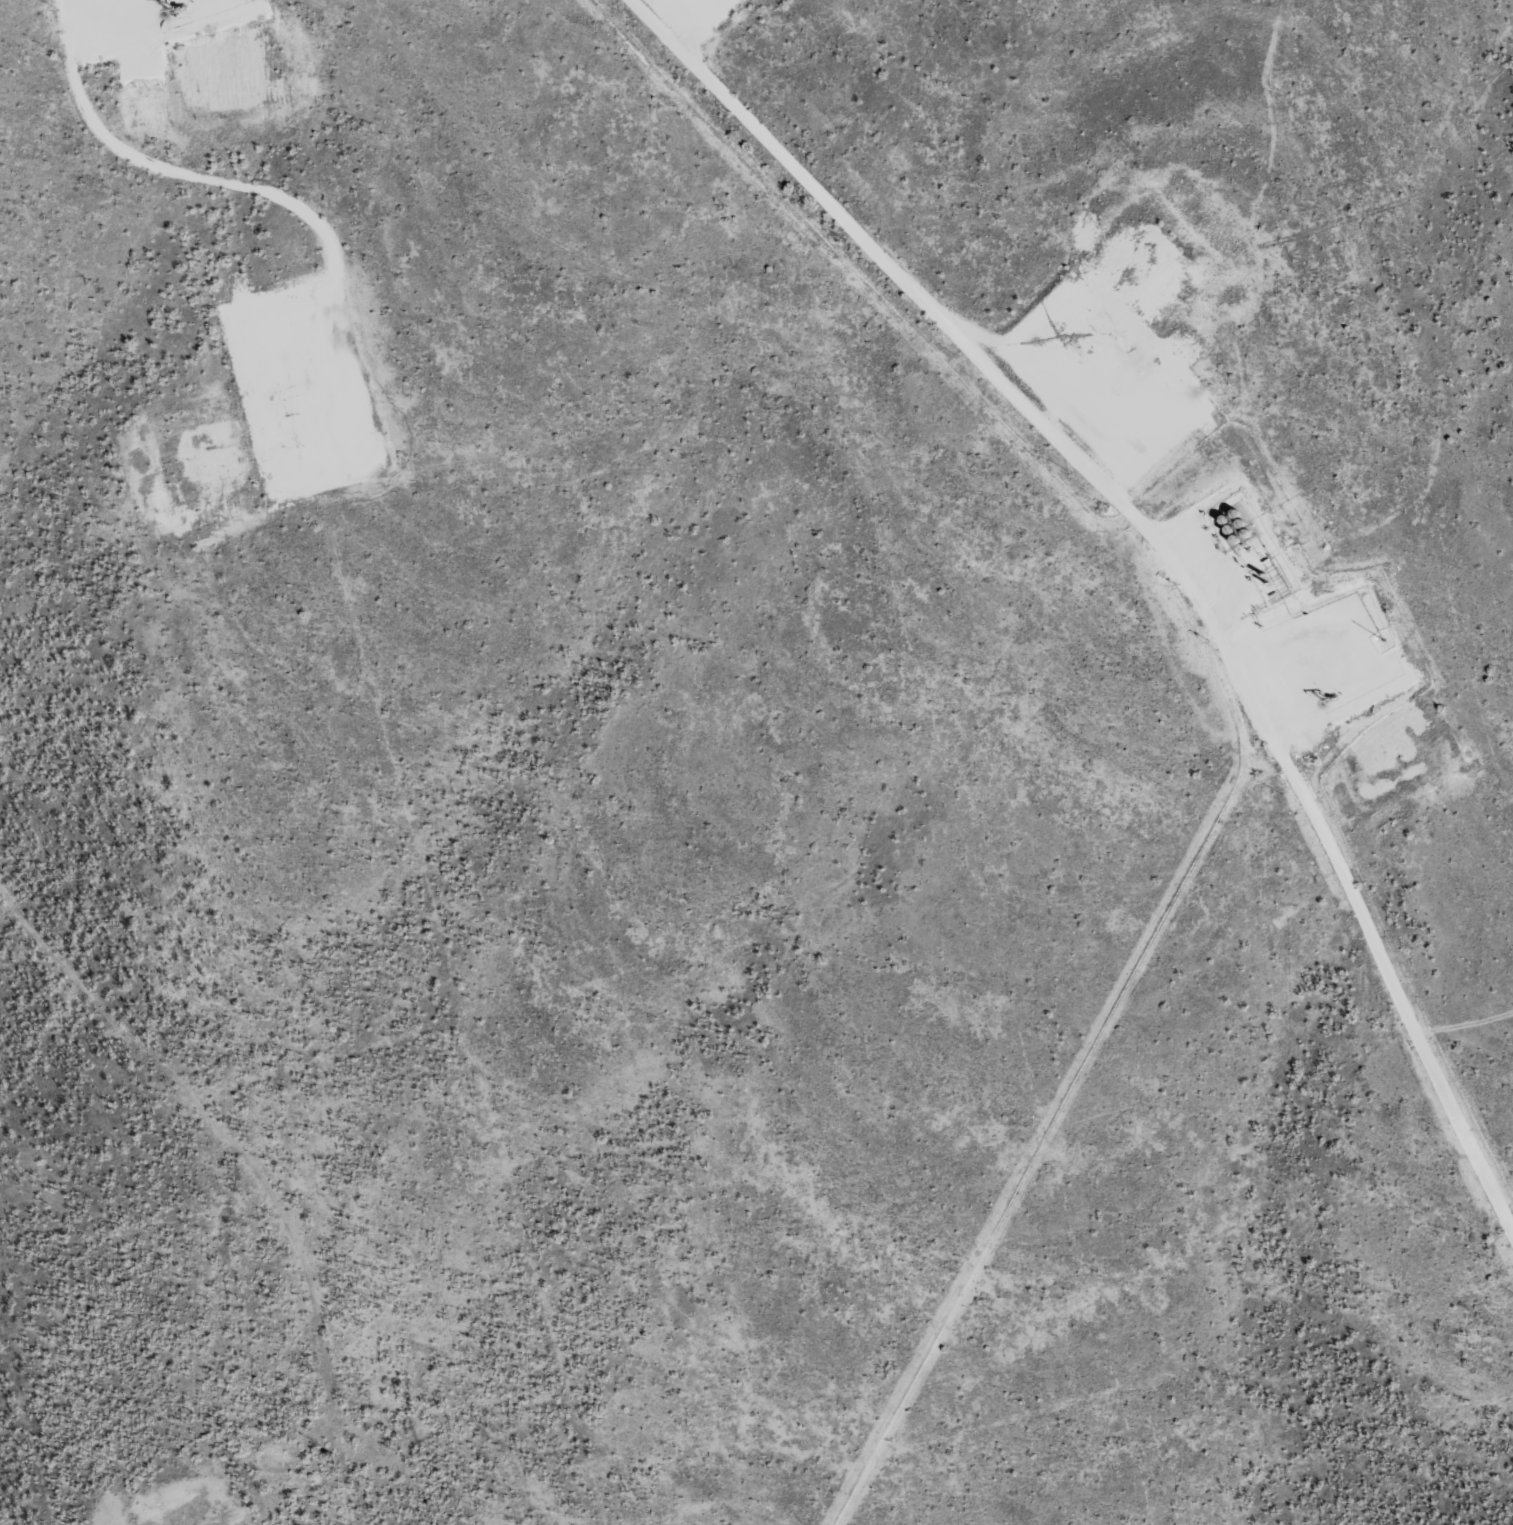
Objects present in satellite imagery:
road: (1161, 574)
road: (249, 1180)

